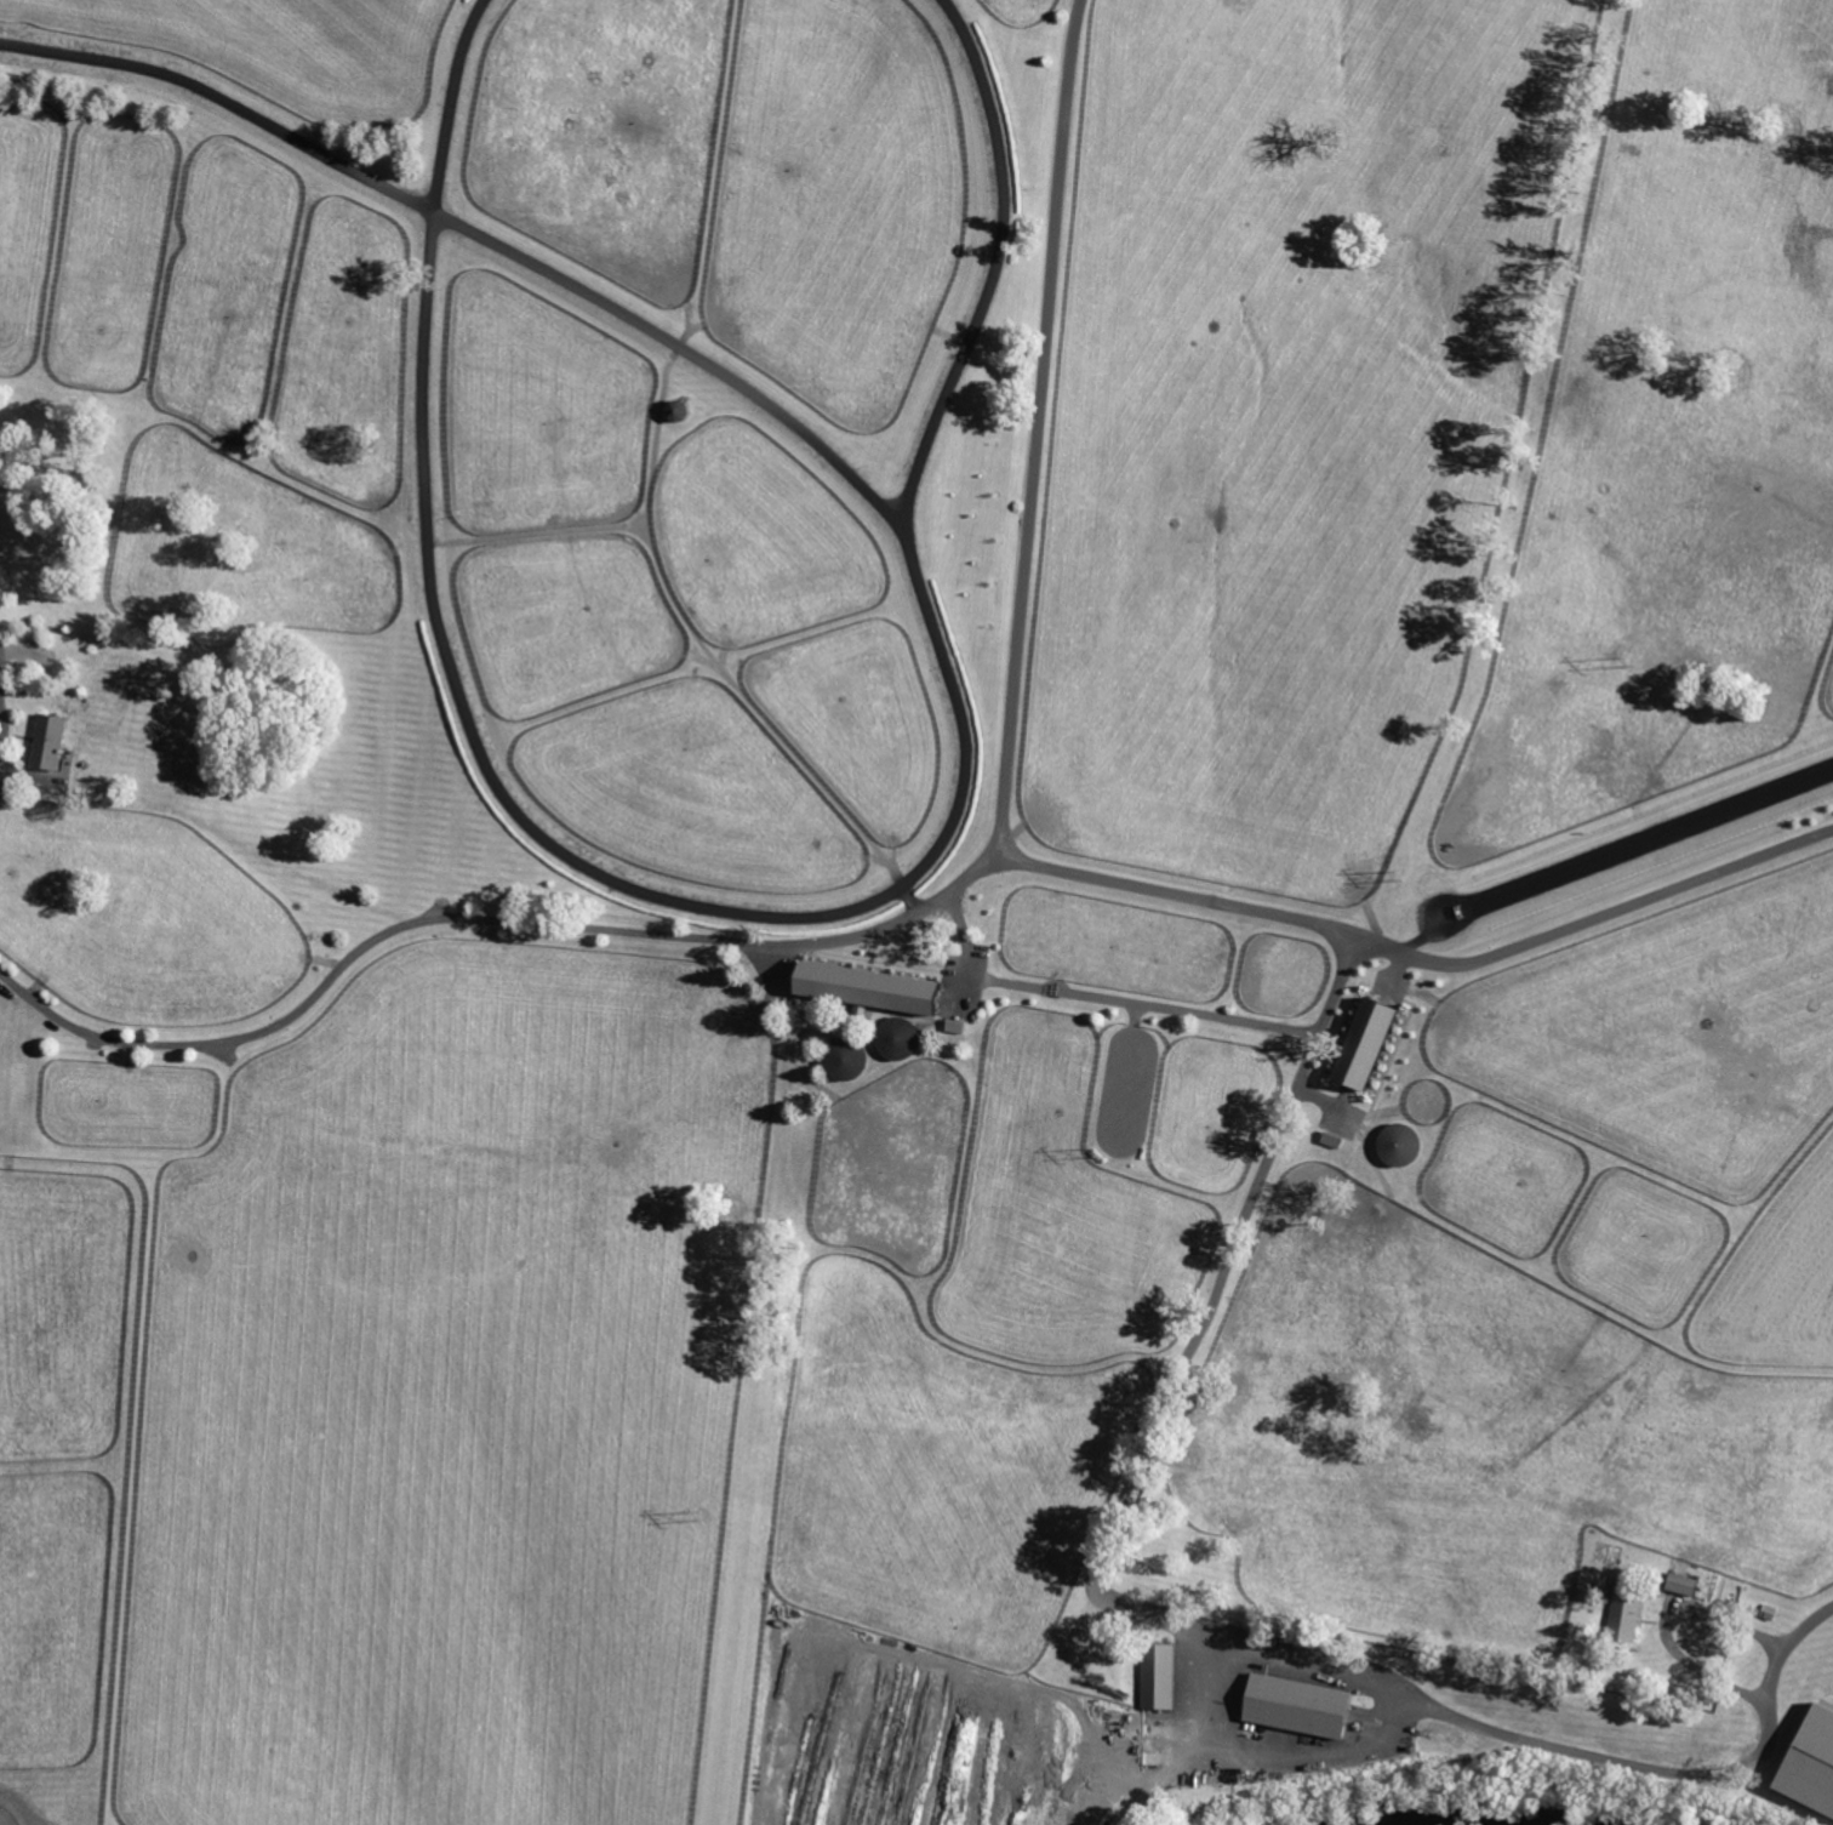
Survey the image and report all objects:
road: (1034, 429)
power tower: (1631, 661)
road: (2, 677)
building: (46, 742)
power tower: (1400, 874)
road: (1307, 920)
road: (613, 931)
building: (863, 986)
building: (954, 1026)
building: (1361, 1043)
power tower: (1097, 1153)
power tower: (702, 1513)
building: (1679, 1582)
road: (1153, 1601)
road: (1684, 1610)
building: (1621, 1618)
road: (1800, 1627)
building: (1155, 1676)
building: (1295, 1704)
road: (1261, 1753)
building: (1809, 1762)

